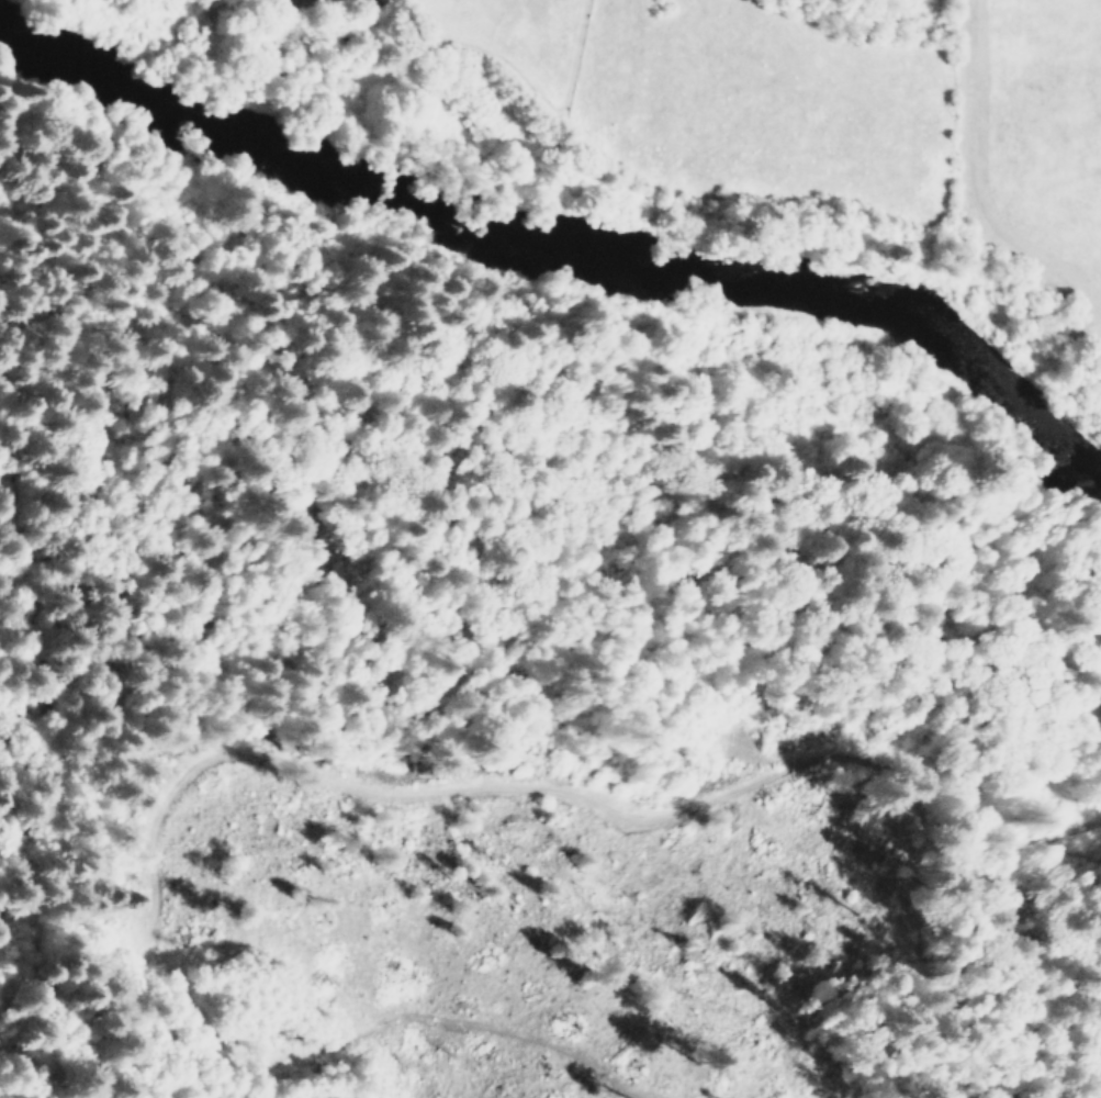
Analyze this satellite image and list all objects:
river: (559, 261)

